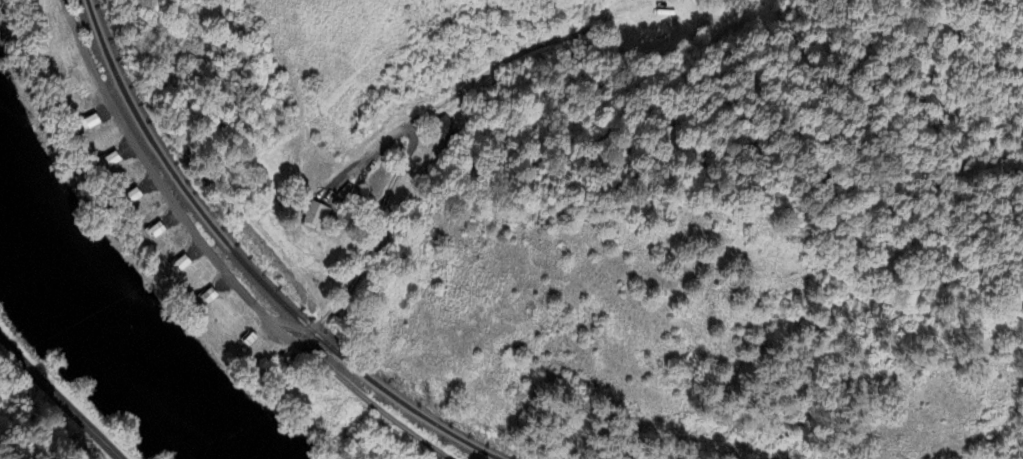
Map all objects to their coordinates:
road: (406, 152)
road: (380, 160)
building: (318, 216)
road: (216, 262)
building: (183, 264)
railway: (249, 268)
river: (121, 342)
road: (58, 398)

